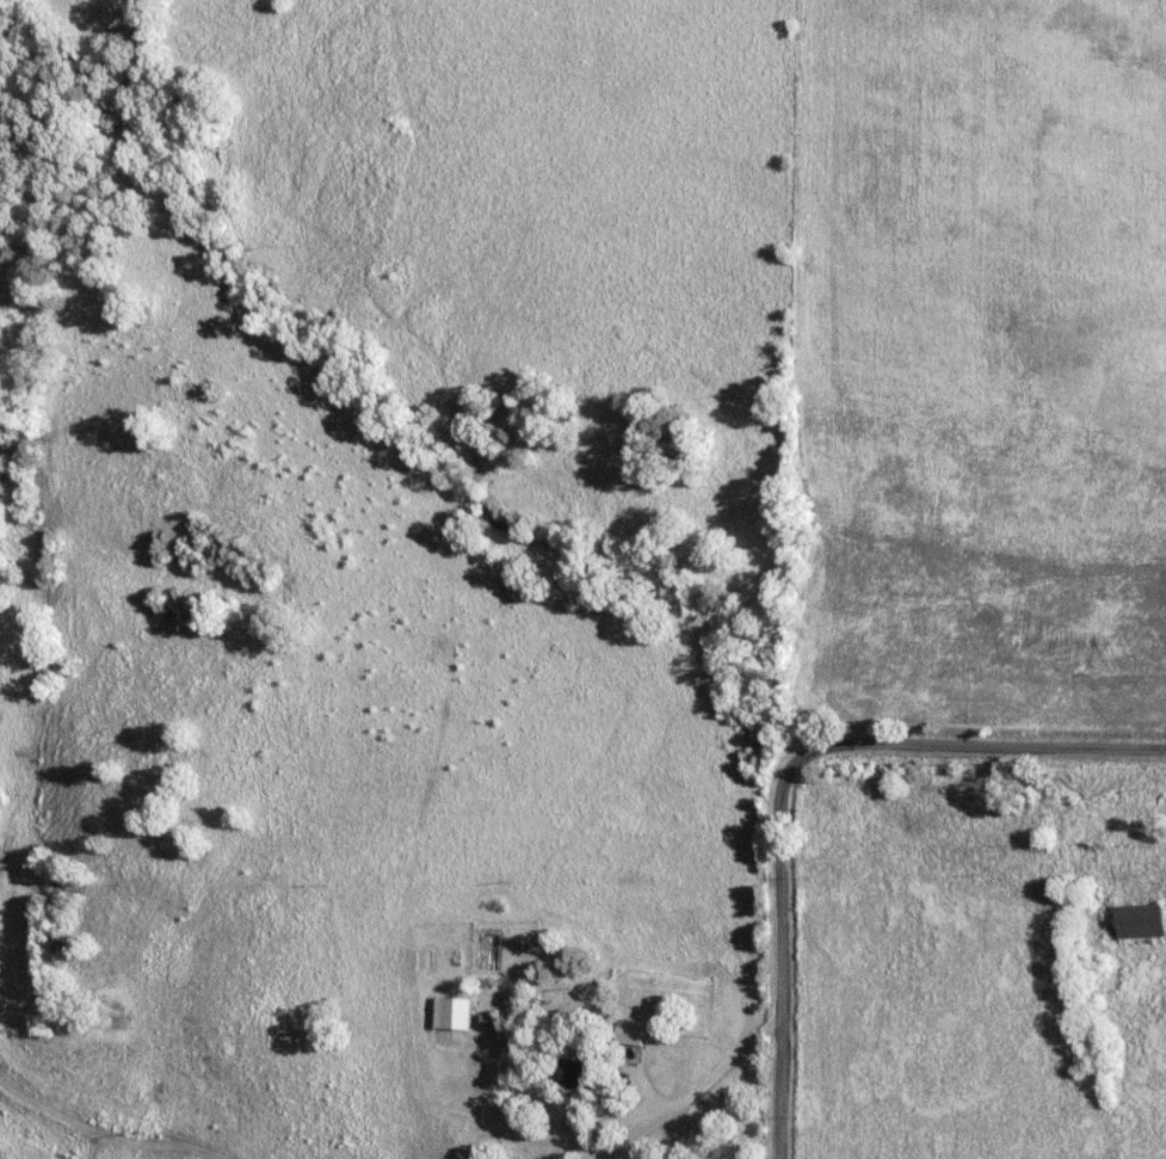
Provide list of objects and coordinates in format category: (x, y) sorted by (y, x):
road: (852, 745)
building: (1135, 920)
building: (584, 1073)
road: (783, 1089)
road: (699, 1093)
road: (91, 1129)

